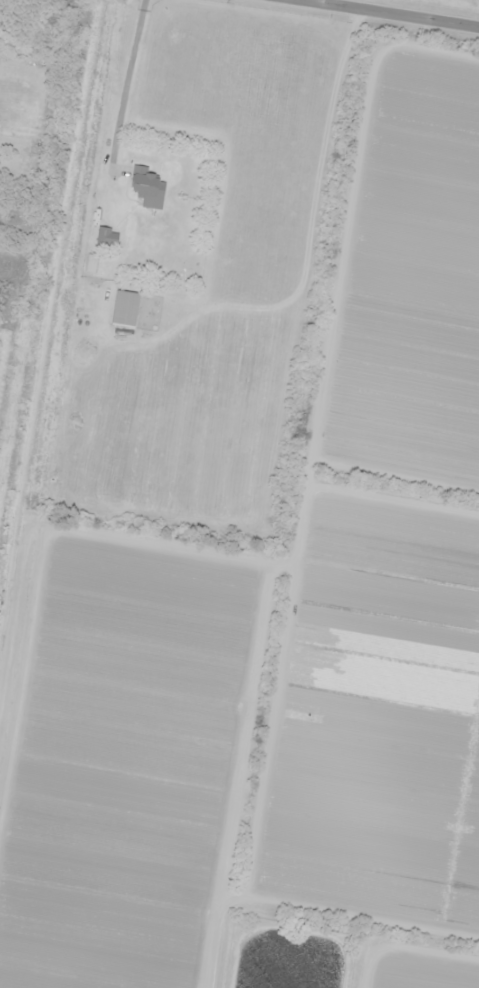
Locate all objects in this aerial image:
road: (381, 14)
building: (147, 189)
building: (106, 239)
building: (124, 310)

